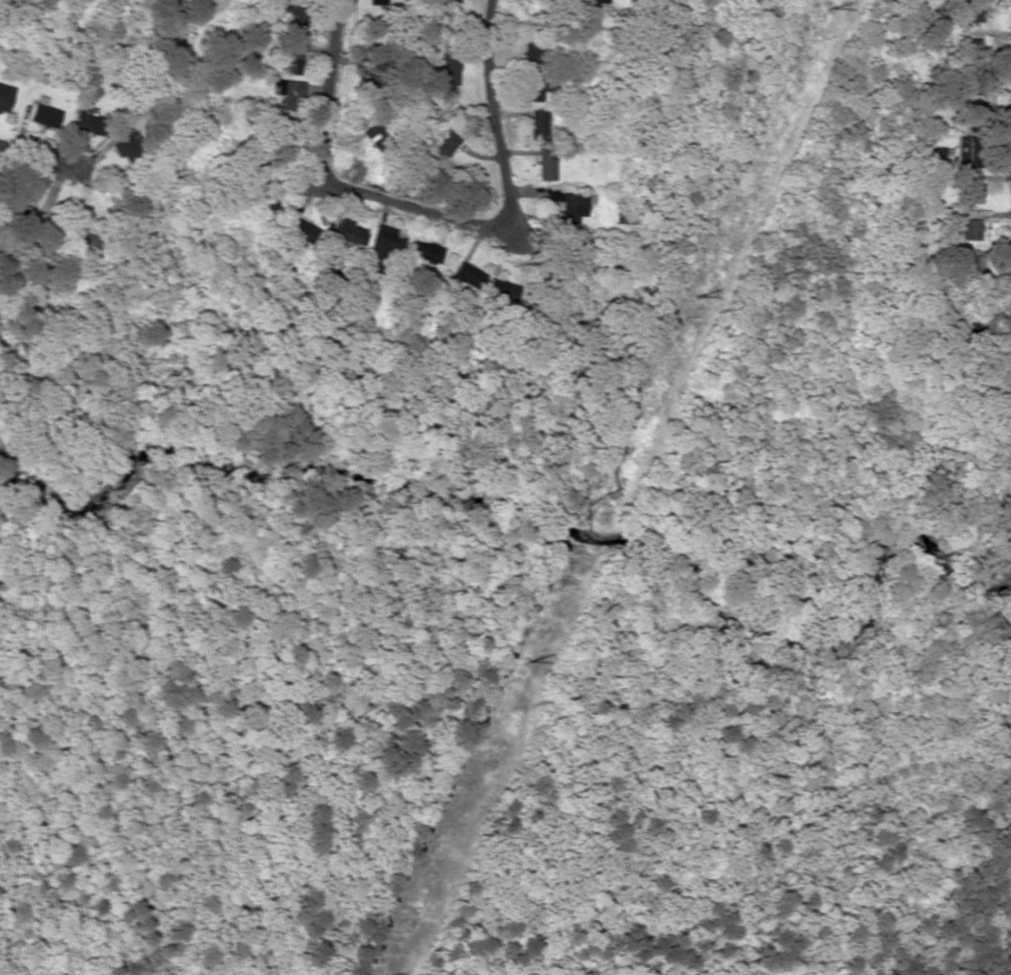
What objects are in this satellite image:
building: (596, 1)
power tower: (828, 11)
building: (972, 13)
building: (292, 21)
building: (451, 72)
building: (538, 87)
building: (291, 94)
building: (5, 97)
building: (45, 115)
building: (91, 124)
building: (538, 125)
building: (372, 132)
building: (126, 145)
building: (442, 146)
road: (35, 156)
building: (546, 164)
building: (571, 206)
road: (436, 215)
building: (301, 229)
building: (972, 229)
building: (347, 235)
building: (383, 245)
building: (573, 249)
building: (425, 251)
building: (971, 265)
building: (468, 276)
building: (503, 289)
power tower: (696, 297)
power tower: (527, 662)

